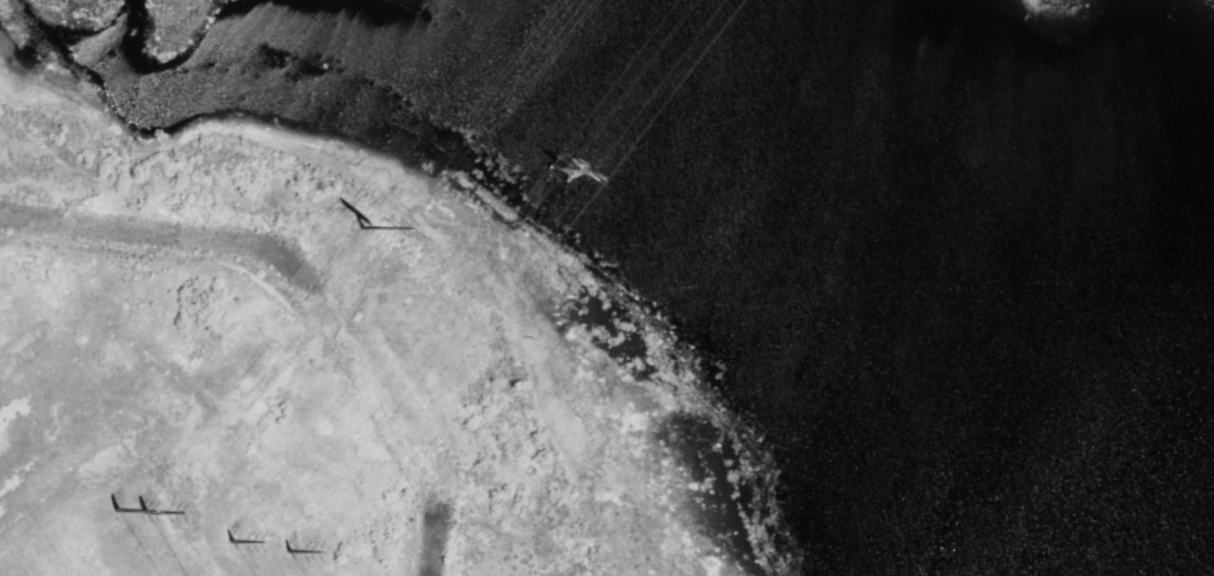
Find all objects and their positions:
power tower: (549, 176)
power tower: (114, 521)
power tower: (253, 537)

